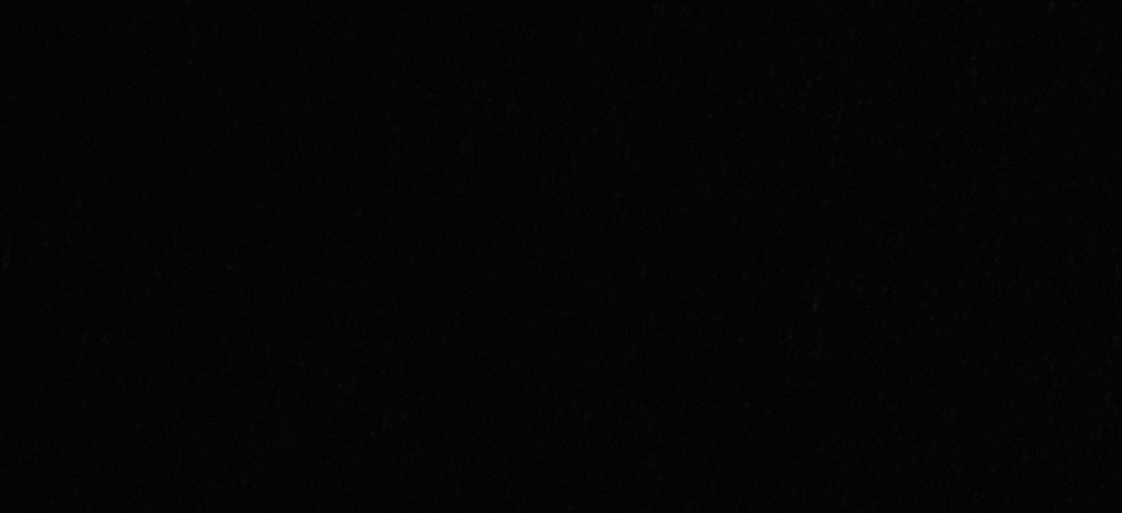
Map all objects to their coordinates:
river: (951, 111)

